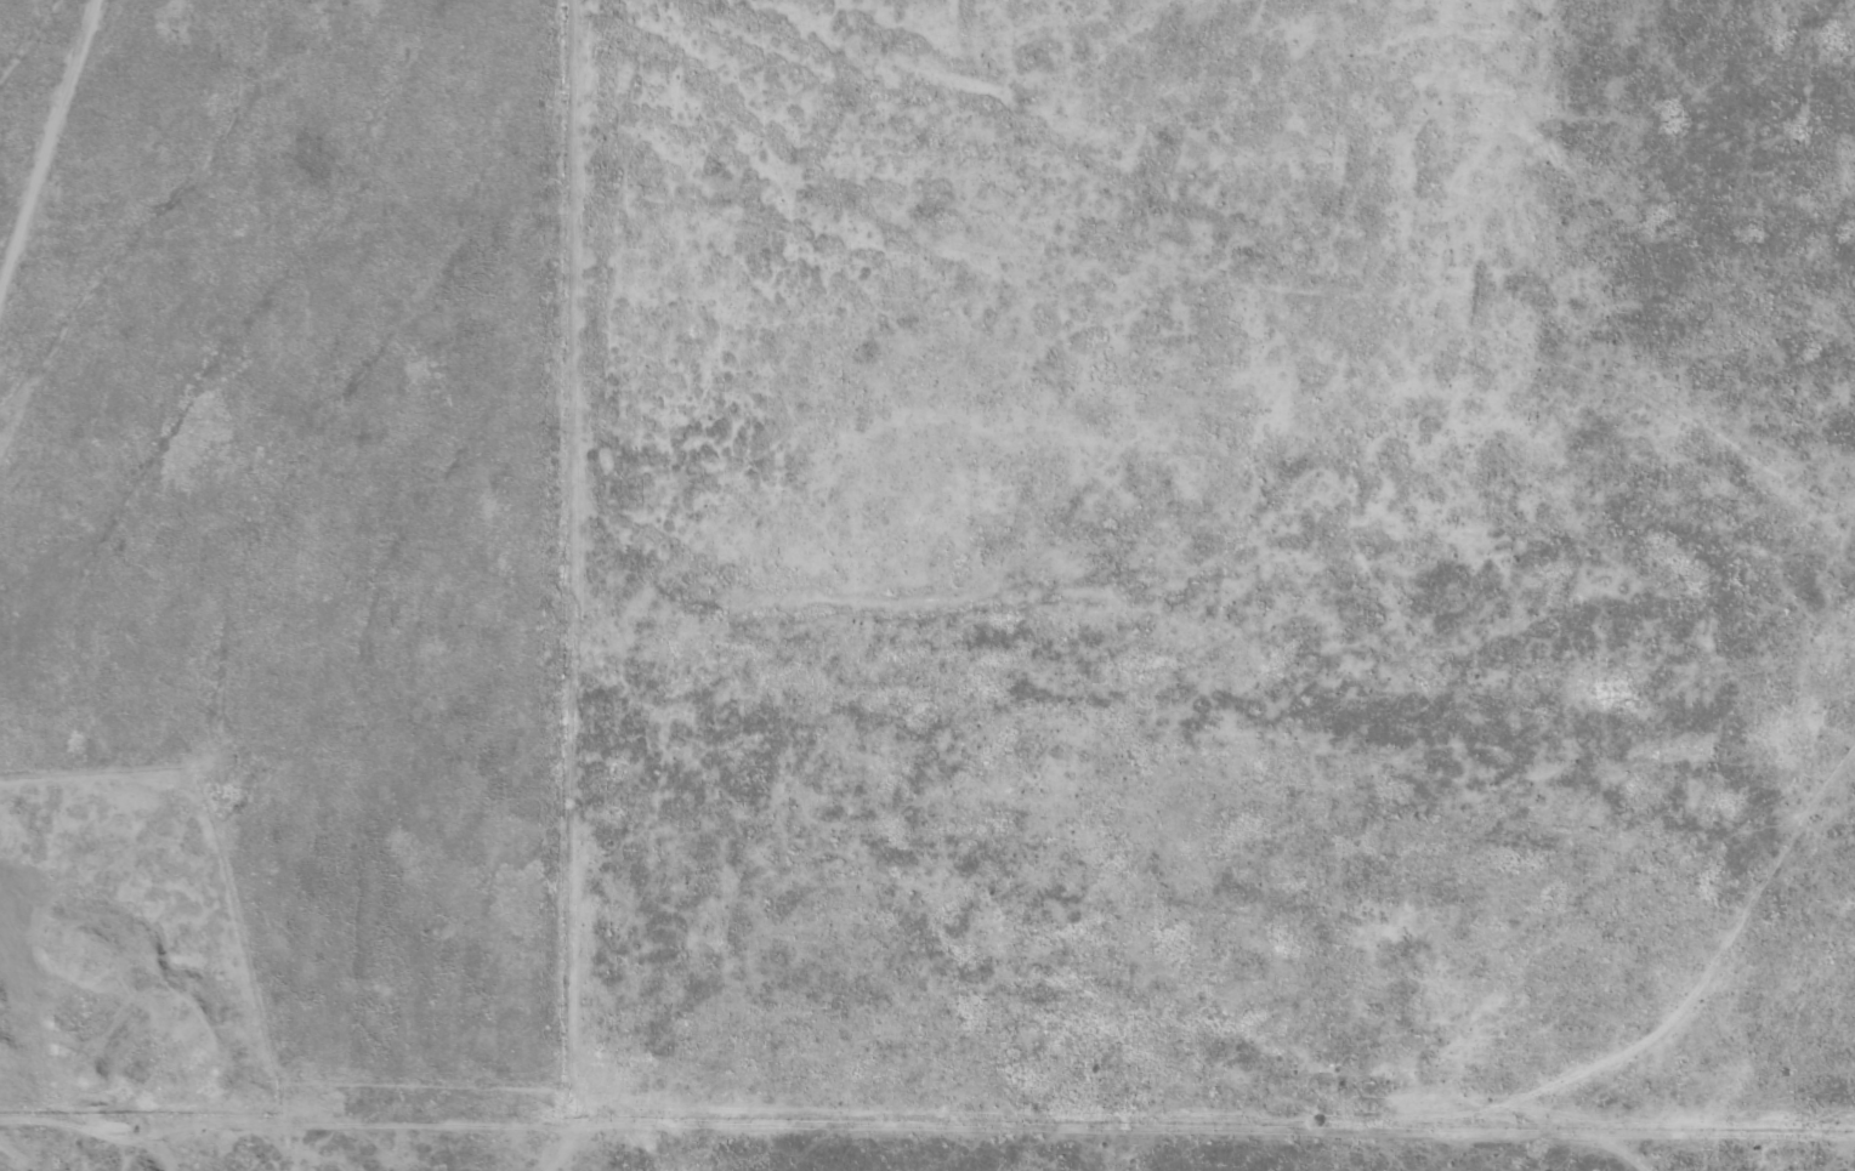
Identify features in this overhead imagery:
road: (580, 590)
road: (1077, 1107)

